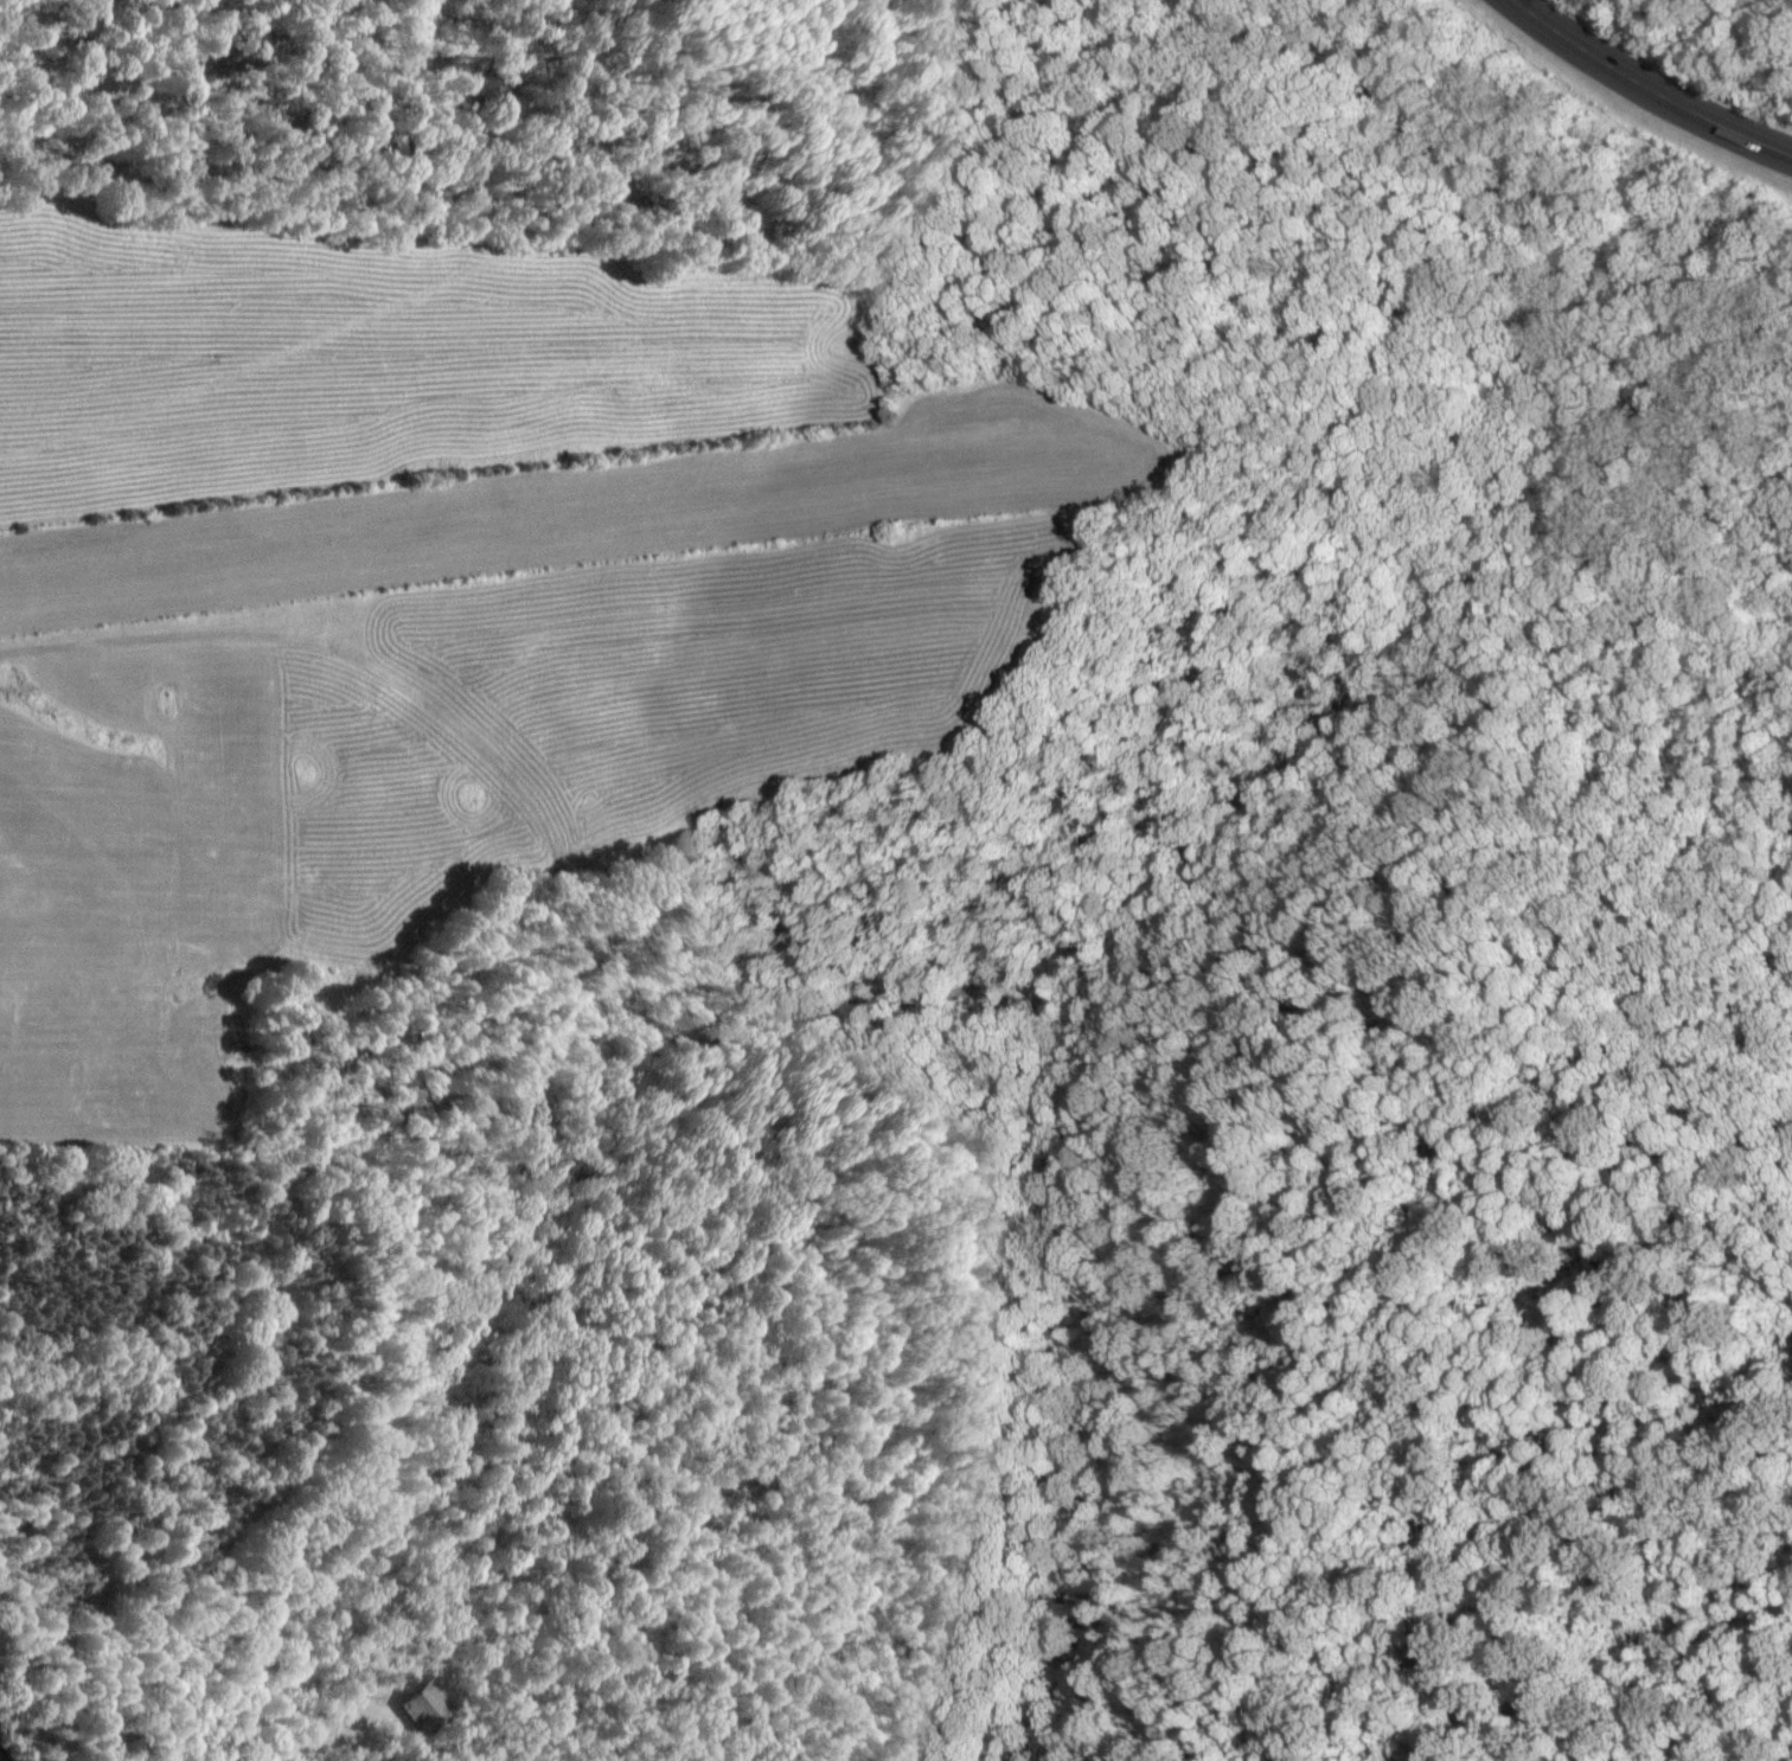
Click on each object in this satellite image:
road: (1646, 89)
airport: (595, 512)
airport runway: (555, 524)
building: (425, 1708)
road: (1, 1759)

